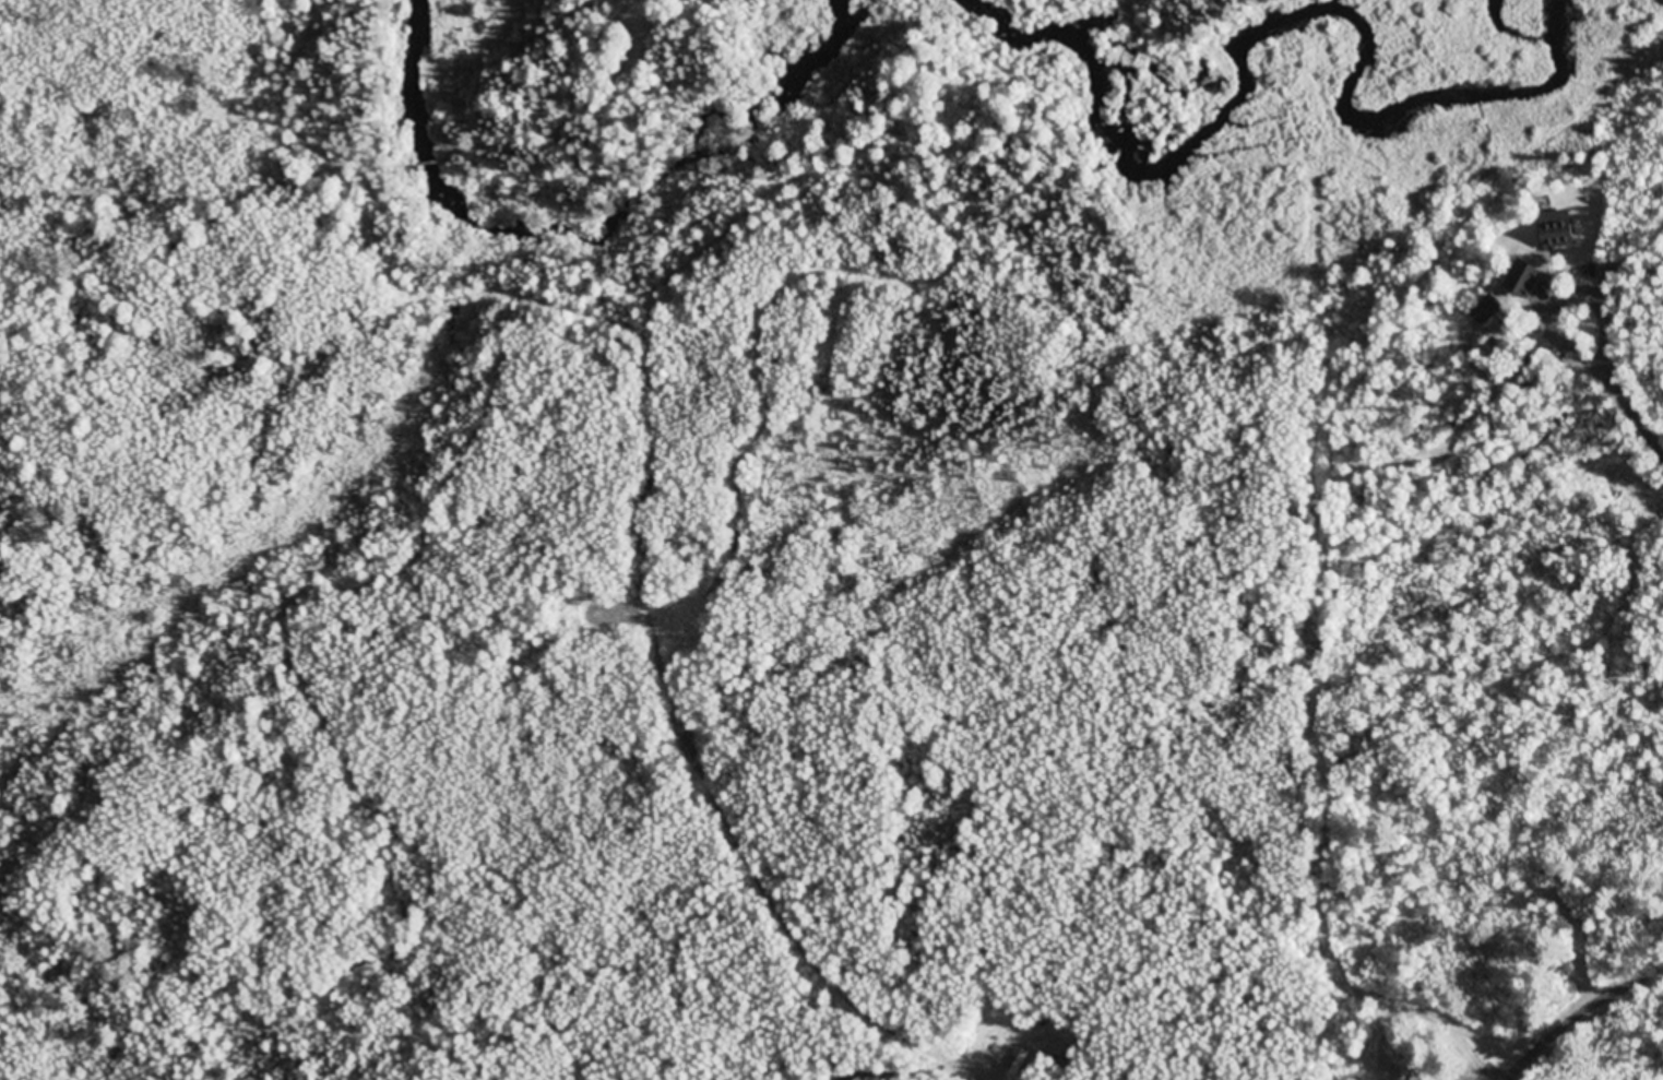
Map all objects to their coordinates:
building: (1559, 229)
building: (1528, 280)

